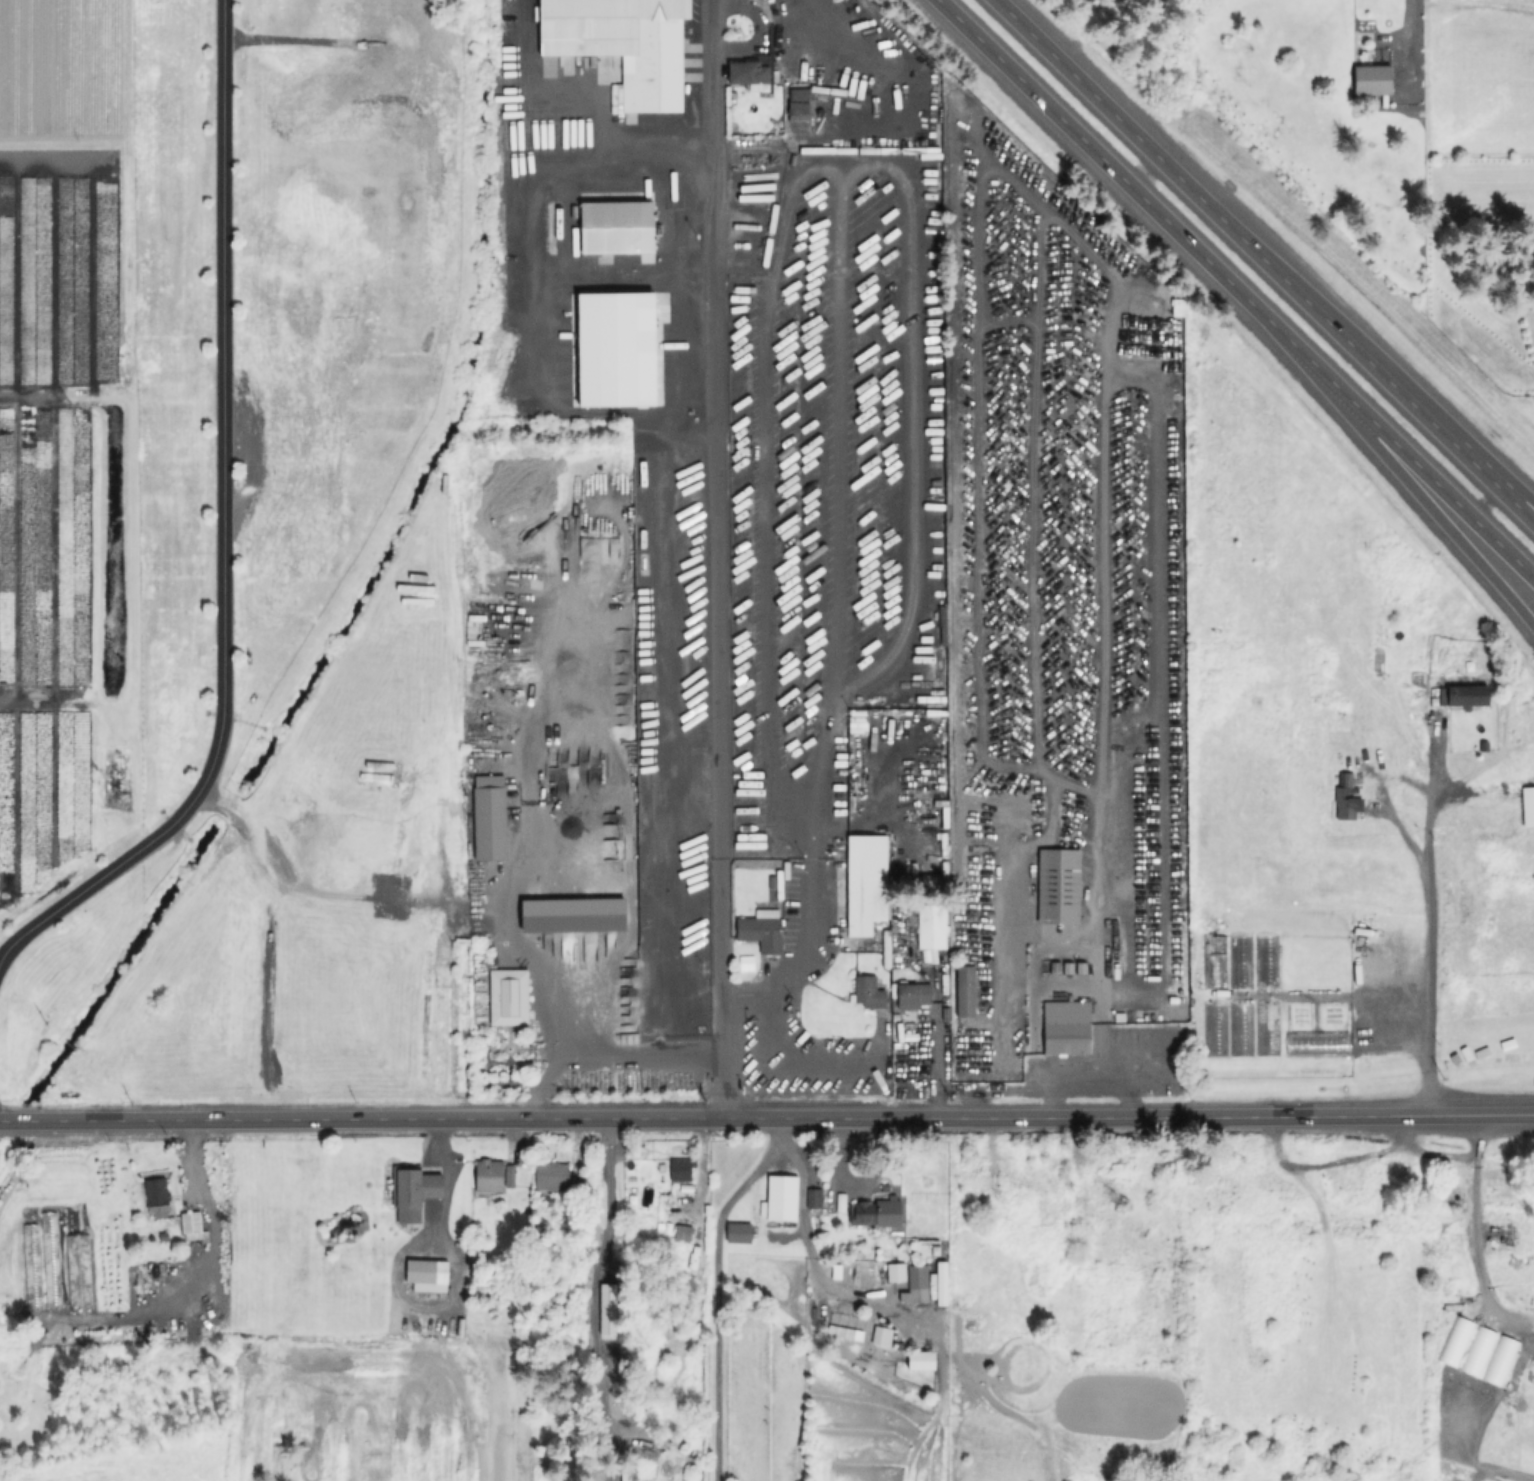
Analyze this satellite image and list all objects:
building: (625, 43)
building: (747, 70)
building: (1371, 78)
building: (797, 103)
road: (572, 114)
building: (617, 224)
road: (1265, 260)
road: (537, 271)
road: (1236, 288)
building: (1177, 308)
building: (615, 348)
road: (565, 410)
road: (1513, 487)
road: (1440, 519)
road: (223, 525)
road: (714, 558)
building: (879, 682)
building: (1464, 696)
road: (1050, 795)
building: (1341, 797)
building: (1528, 806)
road: (1385, 807)
building: (490, 817)
building: (866, 883)
building: (926, 883)
building: (1058, 885)
building: (575, 916)
building: (933, 926)
road: (1427, 928)
building: (764, 930)
road: (545, 969)
building: (967, 990)
building: (870, 992)
building: (915, 995)
building: (510, 996)
building: (1061, 1028)
road: (645, 1055)
road: (1091, 1077)
road: (541, 1079)
road: (767, 1116)
building: (968, 1165)
building: (682, 1169)
building: (494, 1176)
building: (554, 1177)
building: (1108, 1179)
building: (416, 1186)
building: (159, 1196)
building: (781, 1198)
building: (815, 1198)
building: (1077, 1203)
road: (1481, 1206)
building: (869, 1214)
building: (193, 1225)
building: (685, 1234)
building: (741, 1234)
building: (427, 1274)
building: (896, 1274)
road: (593, 1280)
building: (940, 1282)
building: (920, 1283)
road: (718, 1289)
building: (606, 1308)
road: (1511, 1314)
building: (841, 1331)
building: (880, 1335)
building: (922, 1359)

